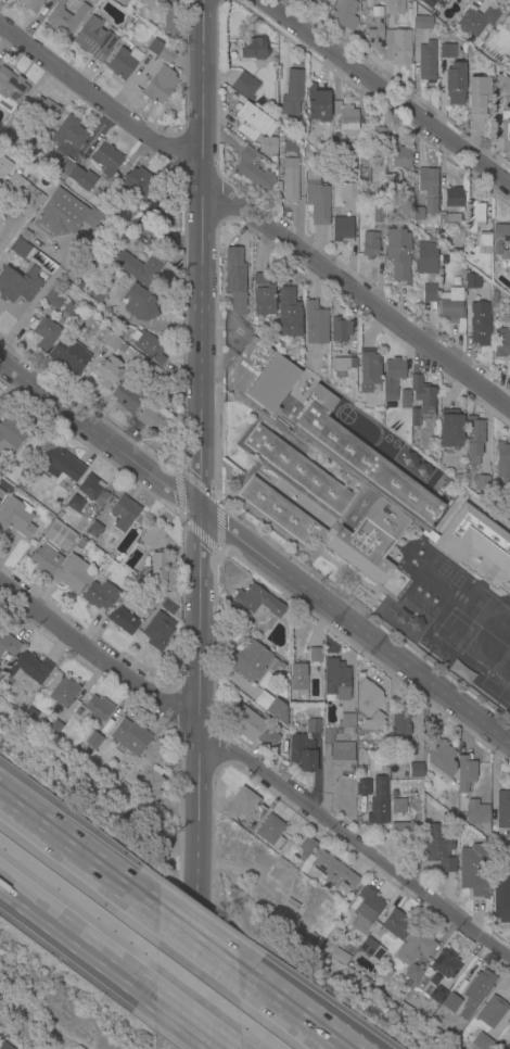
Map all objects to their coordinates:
building: (75, 0)
building: (161, 0)
building: (469, 0)
building: (428, 2)
building: (30, 4)
building: (394, 7)
building: (344, 14)
building: (64, 17)
building: (476, 20)
building: (507, 20)
building: (170, 21)
building: (421, 22)
building: (373, 28)
building: (94, 40)
building: (154, 47)
building: (398, 47)
building: (254, 50)
building: (447, 52)
building: (167, 54)
building: (425, 62)
building: (123, 63)
building: (158, 85)
building: (456, 85)
building: (244, 86)
building: (502, 86)
building: (10, 91)
building: (292, 93)
road: (385, 93)
building: (479, 96)
road: (98, 97)
building: (317, 104)
building: (44, 113)
building: (346, 118)
building: (252, 123)
building: (9, 128)
building: (506, 130)
building: (68, 132)
building: (372, 141)
building: (267, 147)
building: (336, 147)
building: (105, 156)
building: (401, 157)
building: (4, 166)
building: (63, 167)
building: (253, 170)
building: (362, 176)
building: (82, 179)
building: (290, 180)
building: (392, 182)
building: (139, 184)
building: (279, 187)
building: (349, 188)
building: (428, 189)
building: (25, 194)
building: (454, 198)
building: (316, 200)
building: (157, 210)
building: (334, 211)
building: (64, 213)
building: (417, 214)
building: (378, 215)
building: (474, 216)
building: (448, 222)
building: (342, 230)
road: (7, 236)
building: (484, 240)
building: (169, 241)
building: (500, 241)
building: (369, 245)
building: (20, 248)
building: (397, 255)
building: (425, 260)
building: (441, 262)
building: (46, 264)
building: (137, 267)
building: (67, 275)
building: (235, 279)
building: (472, 281)
building: (18, 285)
building: (79, 286)
building: (429, 291)
building: (99, 292)
building: (262, 294)
road: (356, 295)
building: (494, 295)
building: (53, 299)
building: (136, 301)
building: (67, 308)
building: (452, 308)
building: (289, 314)
building: (316, 324)
building: (480, 324)
building: (340, 330)
building: (46, 334)
building: (112, 341)
building: (500, 343)
building: (148, 346)
building: (68, 356)
building: (349, 364)
building: (337, 365)
building: (509, 369)
building: (107, 371)
building: (368, 371)
building: (392, 378)
building: (127, 396)
building: (420, 399)
building: (405, 400)
building: (153, 418)
building: (449, 429)
building: (10, 433)
building: (473, 440)
building: (59, 465)
building: (503, 469)
building: (319, 470)
road: (178, 472)
building: (481, 483)
building: (92, 490)
building: (464, 492)
building: (1, 496)
building: (75, 504)
building: (122, 514)
building: (59, 515)
building: (15, 517)
road: (197, 523)
building: (92, 529)
building: (151, 534)
building: (474, 540)
building: (80, 544)
road: (215, 546)
building: (51, 549)
road: (254, 552)
building: (162, 569)
building: (72, 574)
building: (99, 595)
building: (257, 601)
building: (122, 620)
building: (158, 621)
building: (9, 645)
building: (315, 655)
building: (251, 660)
building: (29, 669)
building: (461, 672)
building: (335, 679)
building: (298, 680)
building: (64, 693)
building: (367, 698)
building: (98, 707)
building: (277, 711)
building: (345, 720)
building: (372, 722)
building: (247, 725)
building: (53, 726)
building: (314, 726)
building: (400, 726)
building: (130, 736)
building: (268, 740)
building: (93, 741)
building: (324, 742)
building: (379, 746)
building: (339, 747)
building: (155, 751)
building: (302, 754)
building: (438, 757)
building: (362, 761)
building: (415, 770)
road: (253, 771)
building: (464, 773)
building: (150, 785)
building: (362, 786)
building: (378, 801)
building: (240, 805)
building: (398, 806)
building: (502, 809)
building: (258, 812)
building: (476, 813)
building: (403, 831)
building: (270, 832)
building: (508, 846)
building: (438, 848)
road: (78, 860)
building: (324, 867)
building: (472, 868)
building: (281, 872)
building: (501, 898)
building: (292, 905)
building: (364, 910)
building: (296, 924)
building: (396, 924)
road: (77, 937)
road: (195, 946)
building: (415, 948)
building: (371, 949)
building: (340, 958)
building: (445, 964)
building: (385, 974)
building: (412, 974)
building: (475, 991)
building: (442, 996)
road: (285, 1012)
road: (295, 1012)
building: (492, 1012)
road: (190, 1022)
building: (482, 1042)
building: (5, 1046)
building: (508, 1047)

